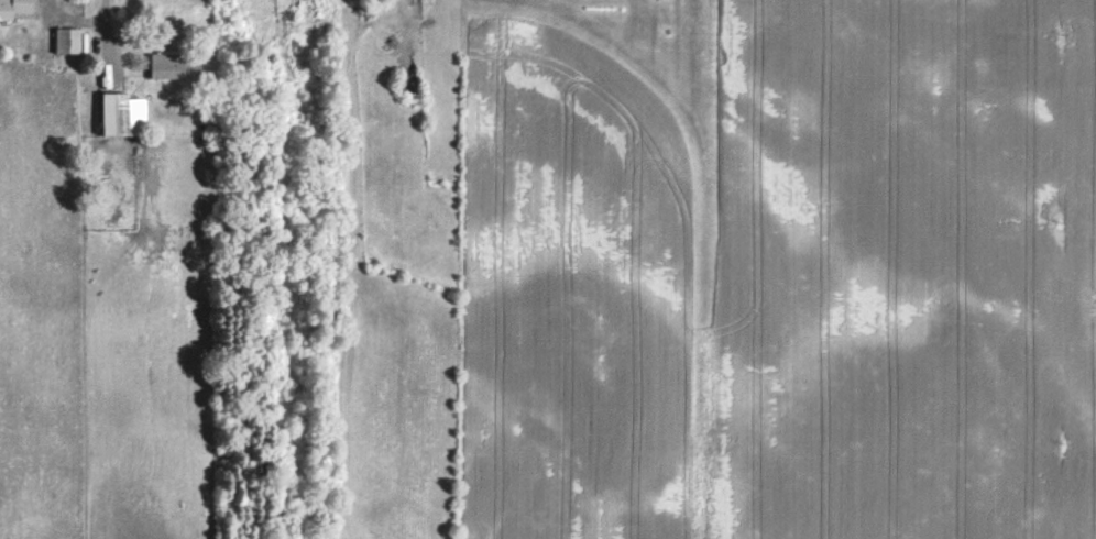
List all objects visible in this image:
building: (12, 7)
road: (78, 18)
building: (64, 40)
building: (172, 65)
building: (118, 114)

